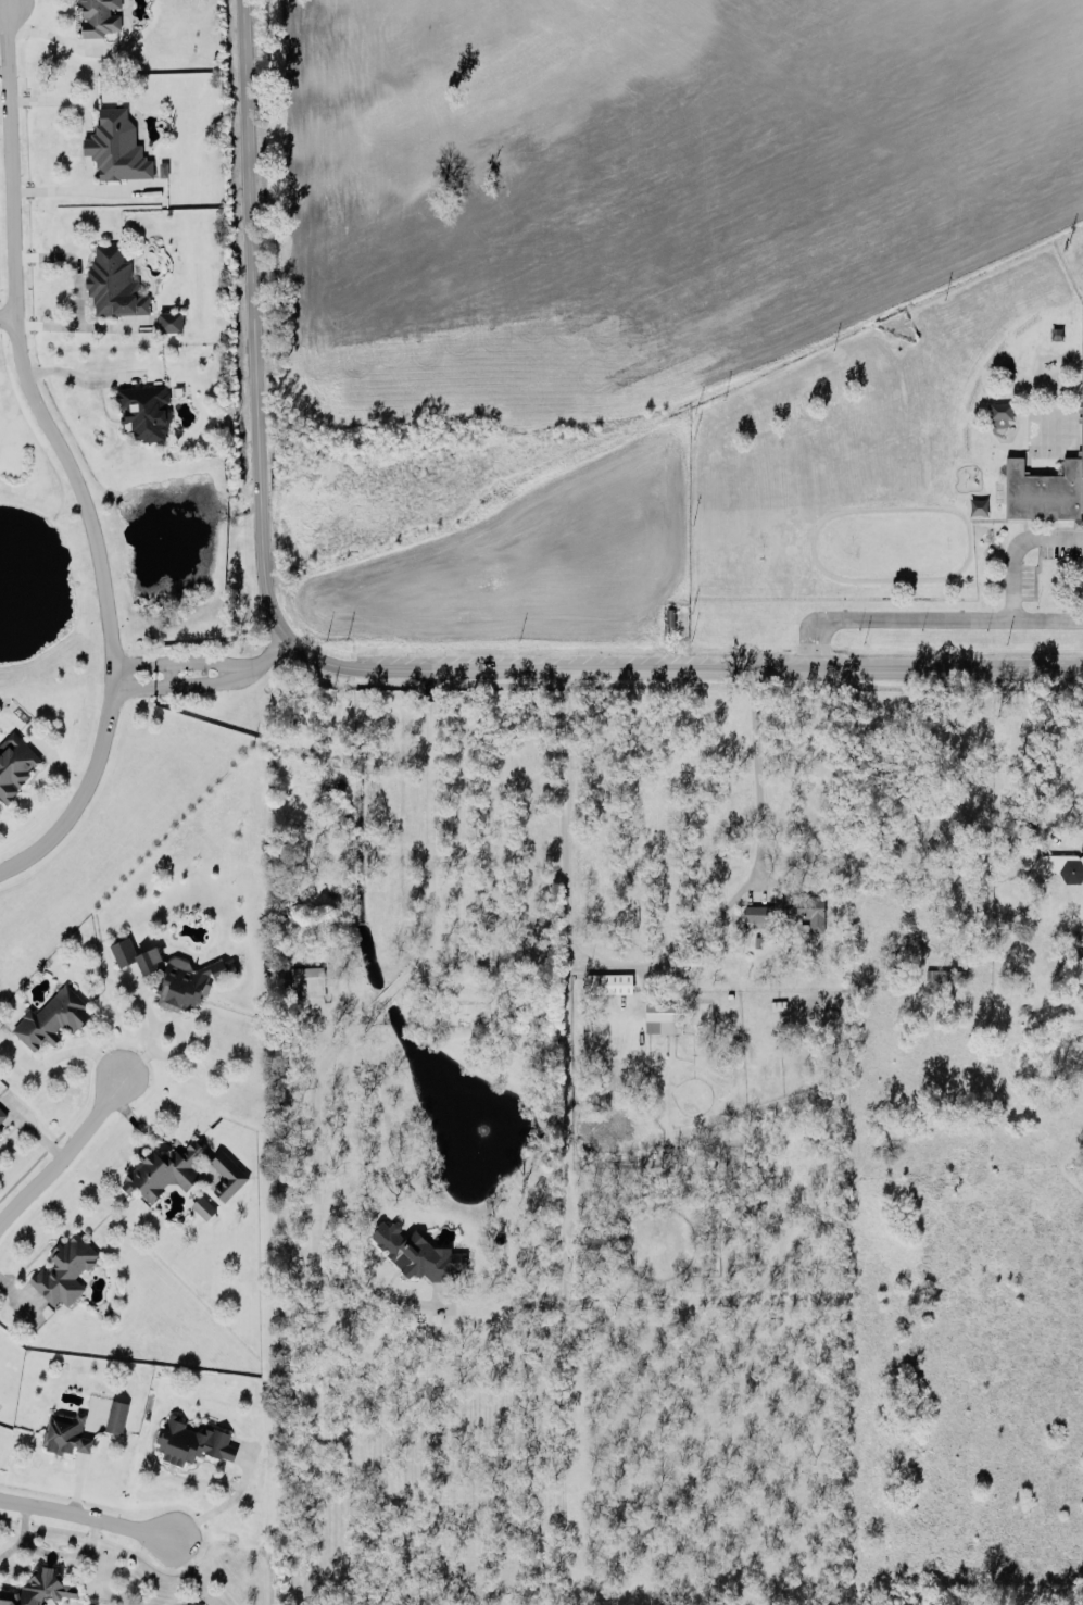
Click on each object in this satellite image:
road: (2, 3)
road: (7, 3)
road: (1, 4)
building: (99, 16)
building: (116, 146)
road: (78, 189)
building: (114, 283)
road: (7, 311)
building: (169, 321)
road: (74, 374)
building: (146, 411)
road: (62, 457)
building: (1046, 487)
road: (1017, 544)
road: (887, 615)
building: (669, 616)
road: (1048, 617)
road: (361, 666)
road: (227, 670)
road: (134, 676)
building: (14, 762)
road: (1050, 814)
road: (565, 823)
building: (1060, 863)
road: (748, 880)
building: (789, 911)
road: (521, 948)
building: (135, 954)
building: (306, 980)
building: (188, 981)
building: (608, 982)
road: (389, 989)
building: (51, 1016)
building: (663, 1017)
road: (70, 1051)
road: (564, 1105)
building: (2, 1114)
building: (0, 1127)
building: (1, 1131)
road: (61, 1158)
building: (179, 1169)
building: (203, 1206)
building: (731, 1208)
building: (417, 1253)
building: (65, 1267)
road: (372, 1288)
building: (115, 1413)
building: (65, 1431)
building: (192, 1439)
road: (224, 1501)
road: (84, 1515)
road: (51, 1554)
building: (38, 1588)

